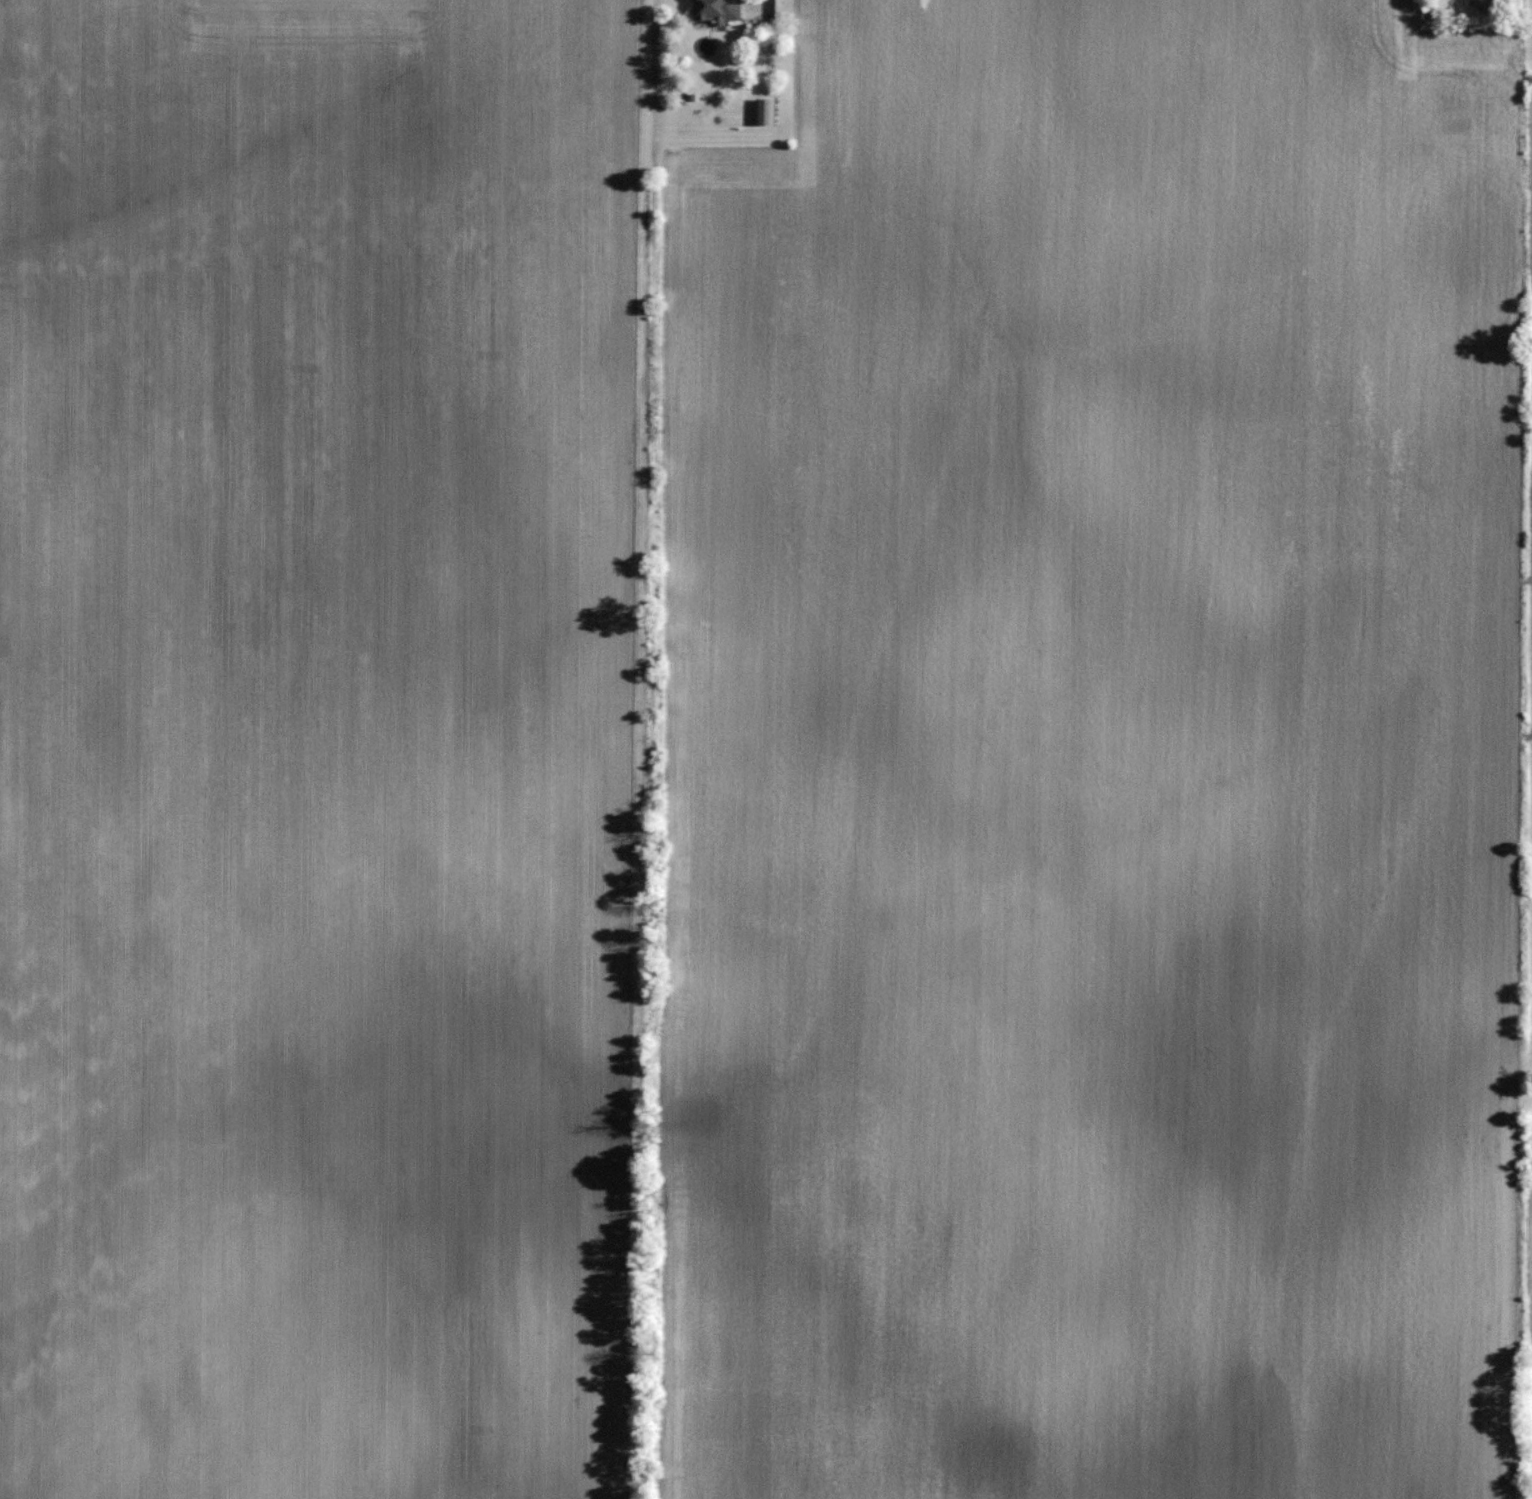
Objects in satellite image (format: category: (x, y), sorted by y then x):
building: (1486, 5)
building: (715, 9)
building: (764, 109)

